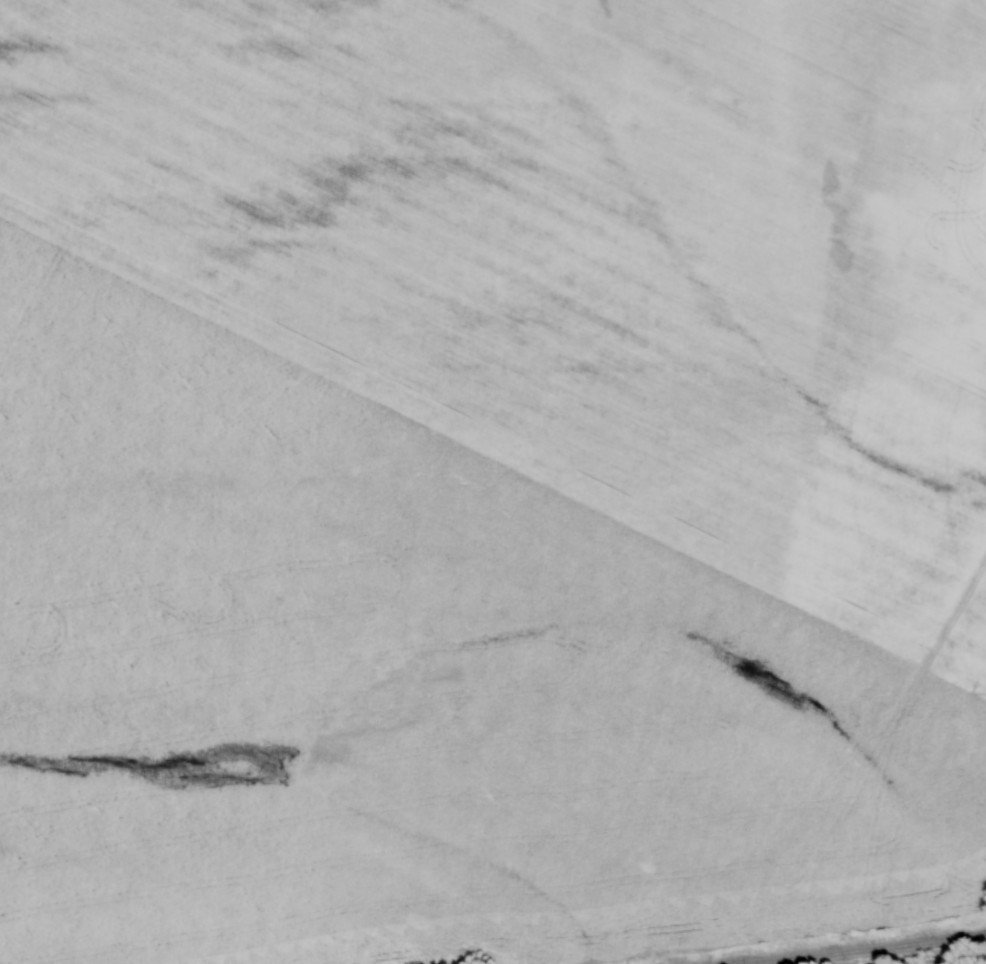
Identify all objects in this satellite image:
railway: (870, 949)

